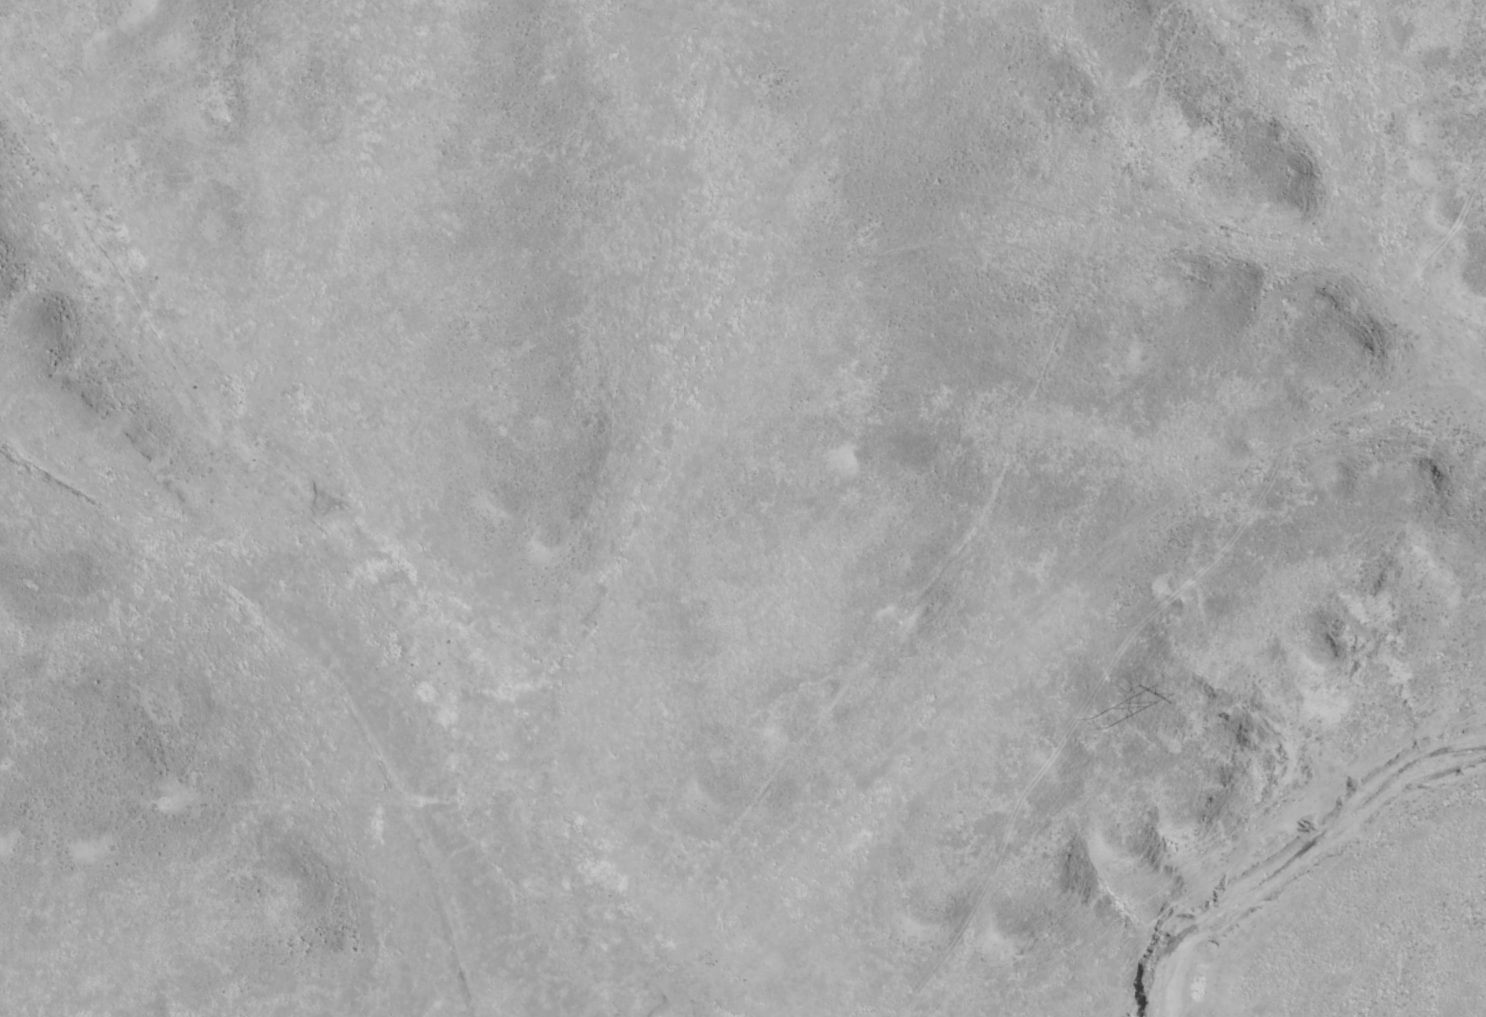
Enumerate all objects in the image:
power tower: (1093, 731)

